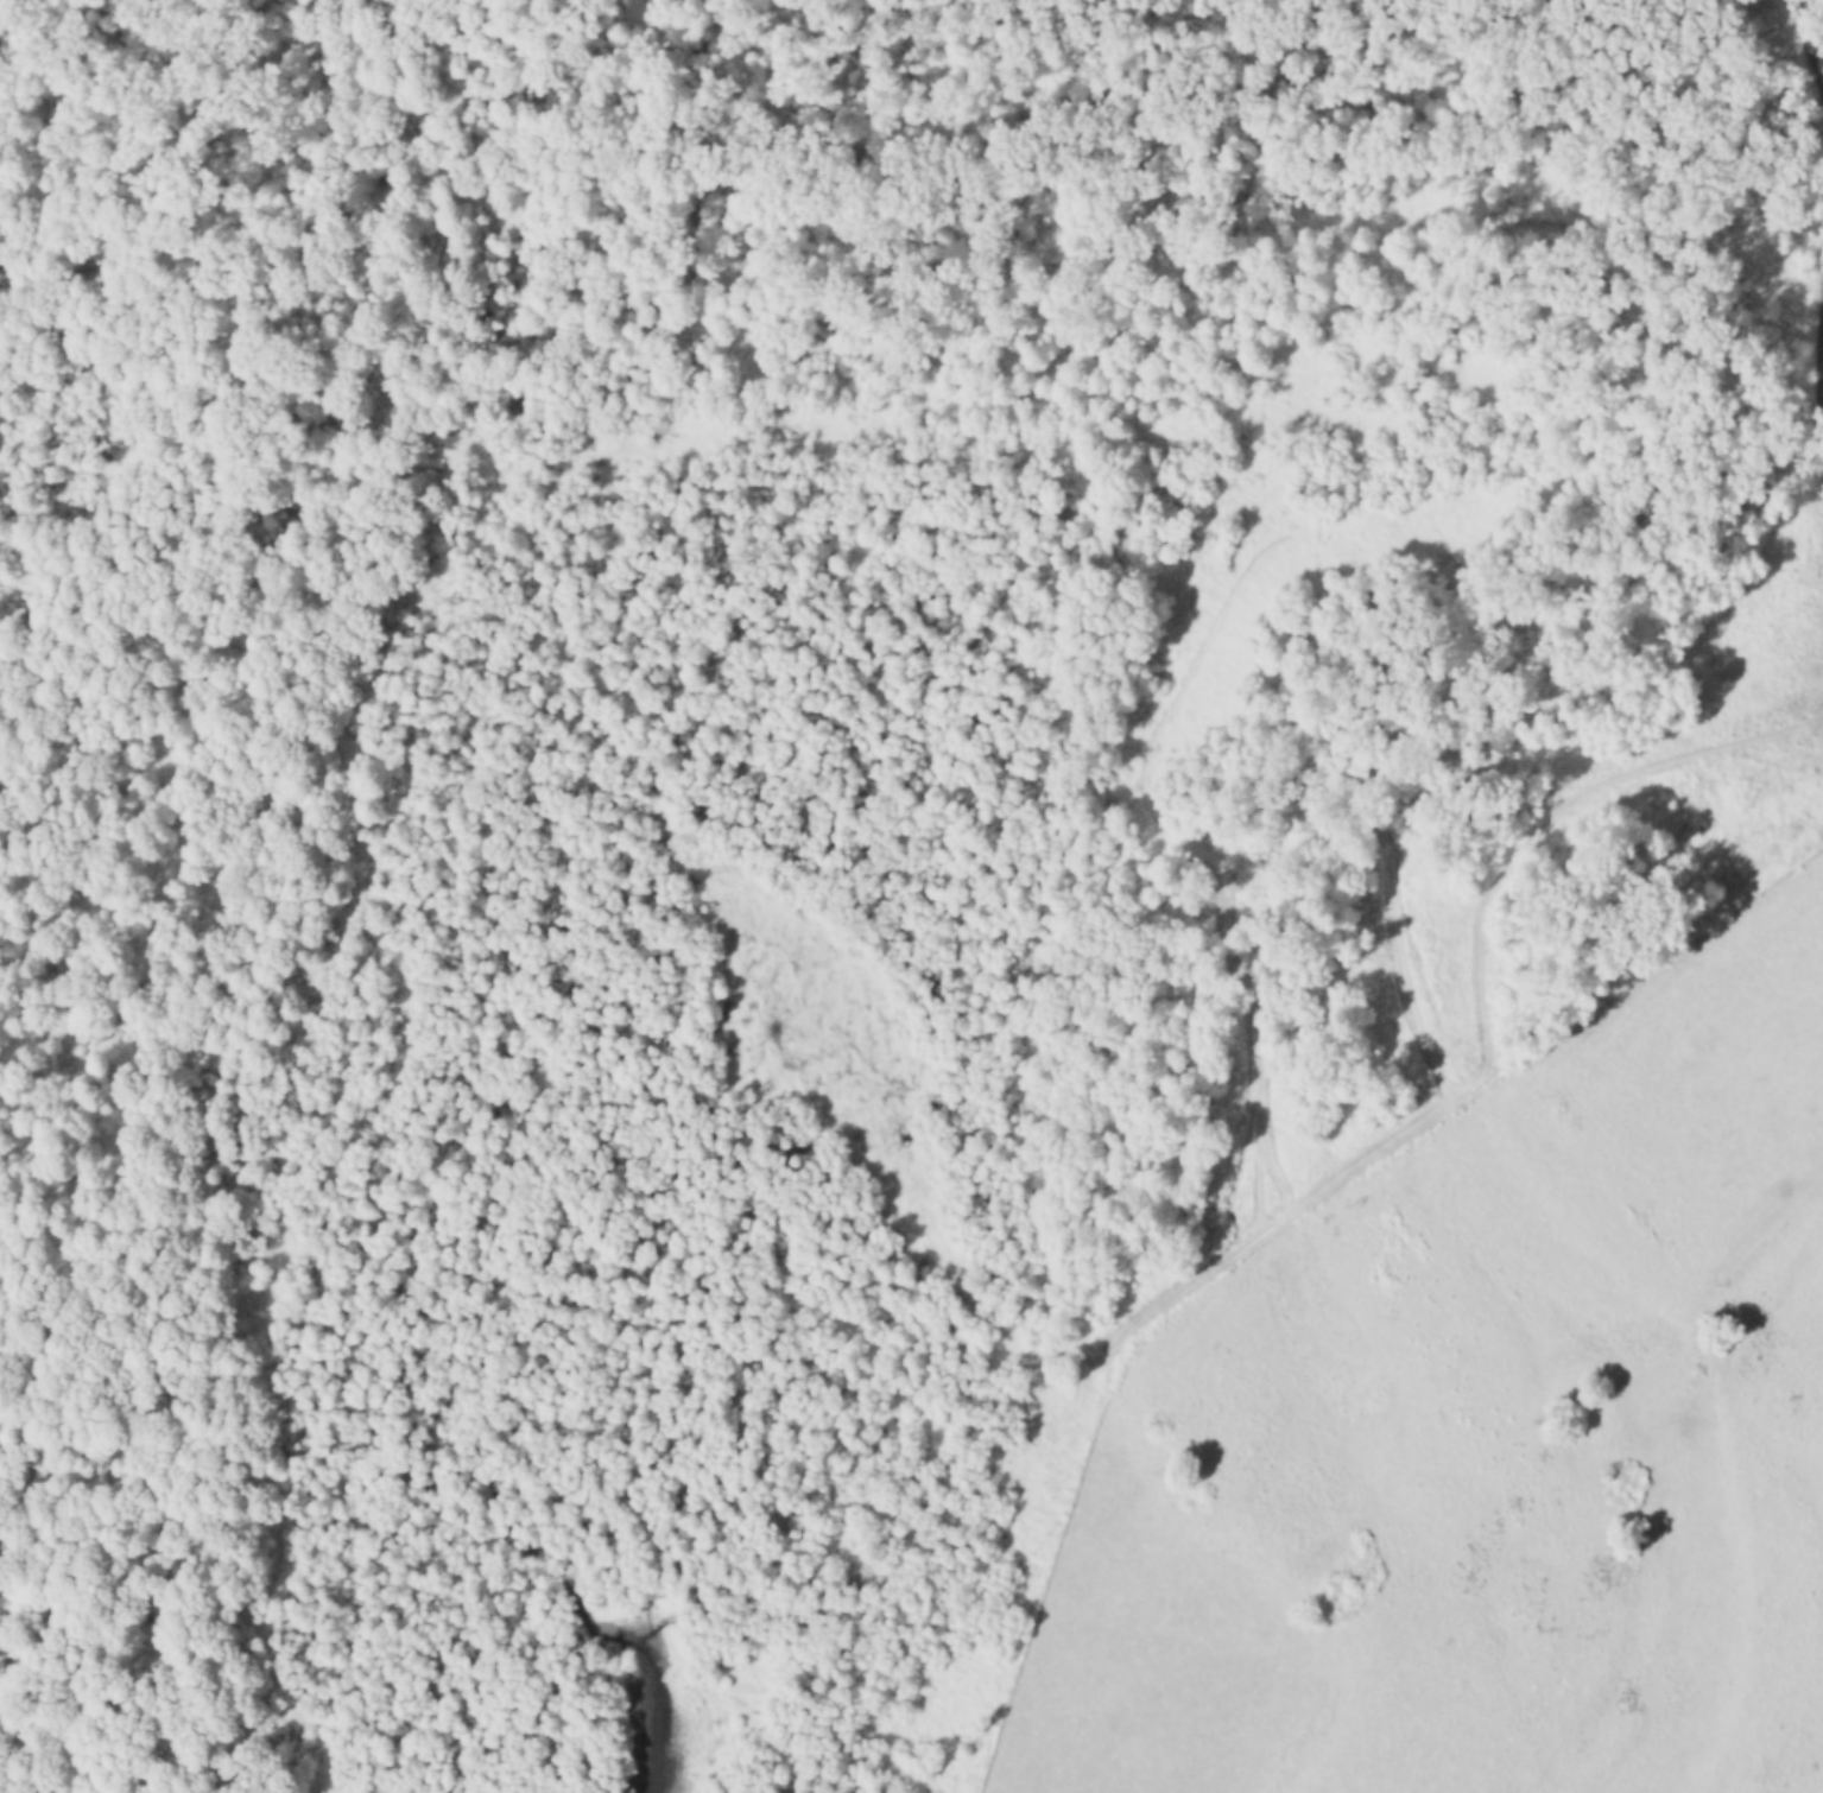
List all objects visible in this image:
road: (1809, 63)
road: (1818, 373)
road: (1618, 1314)

